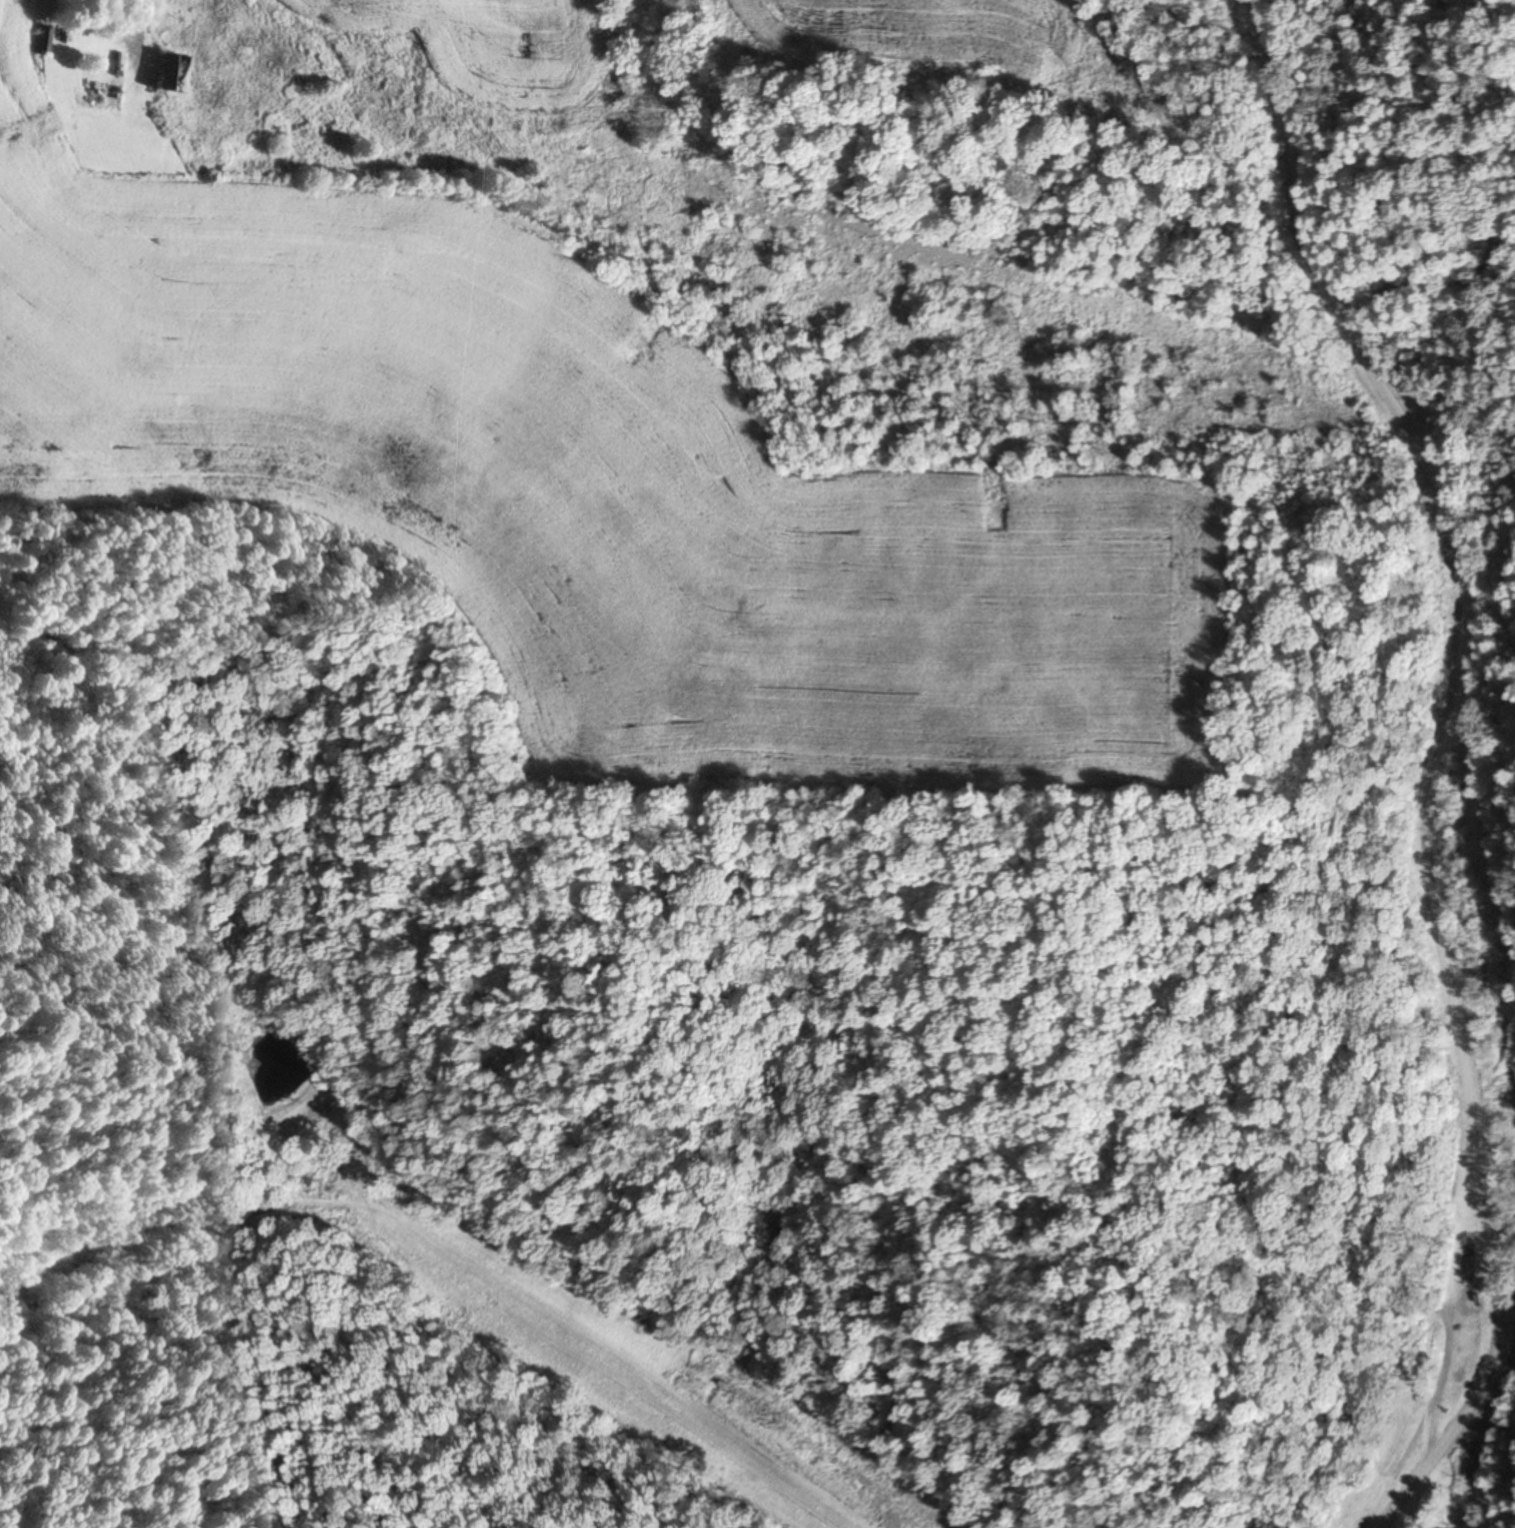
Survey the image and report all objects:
building: (35, 39)
building: (161, 71)
road: (1433, 757)
road: (643, 1368)

